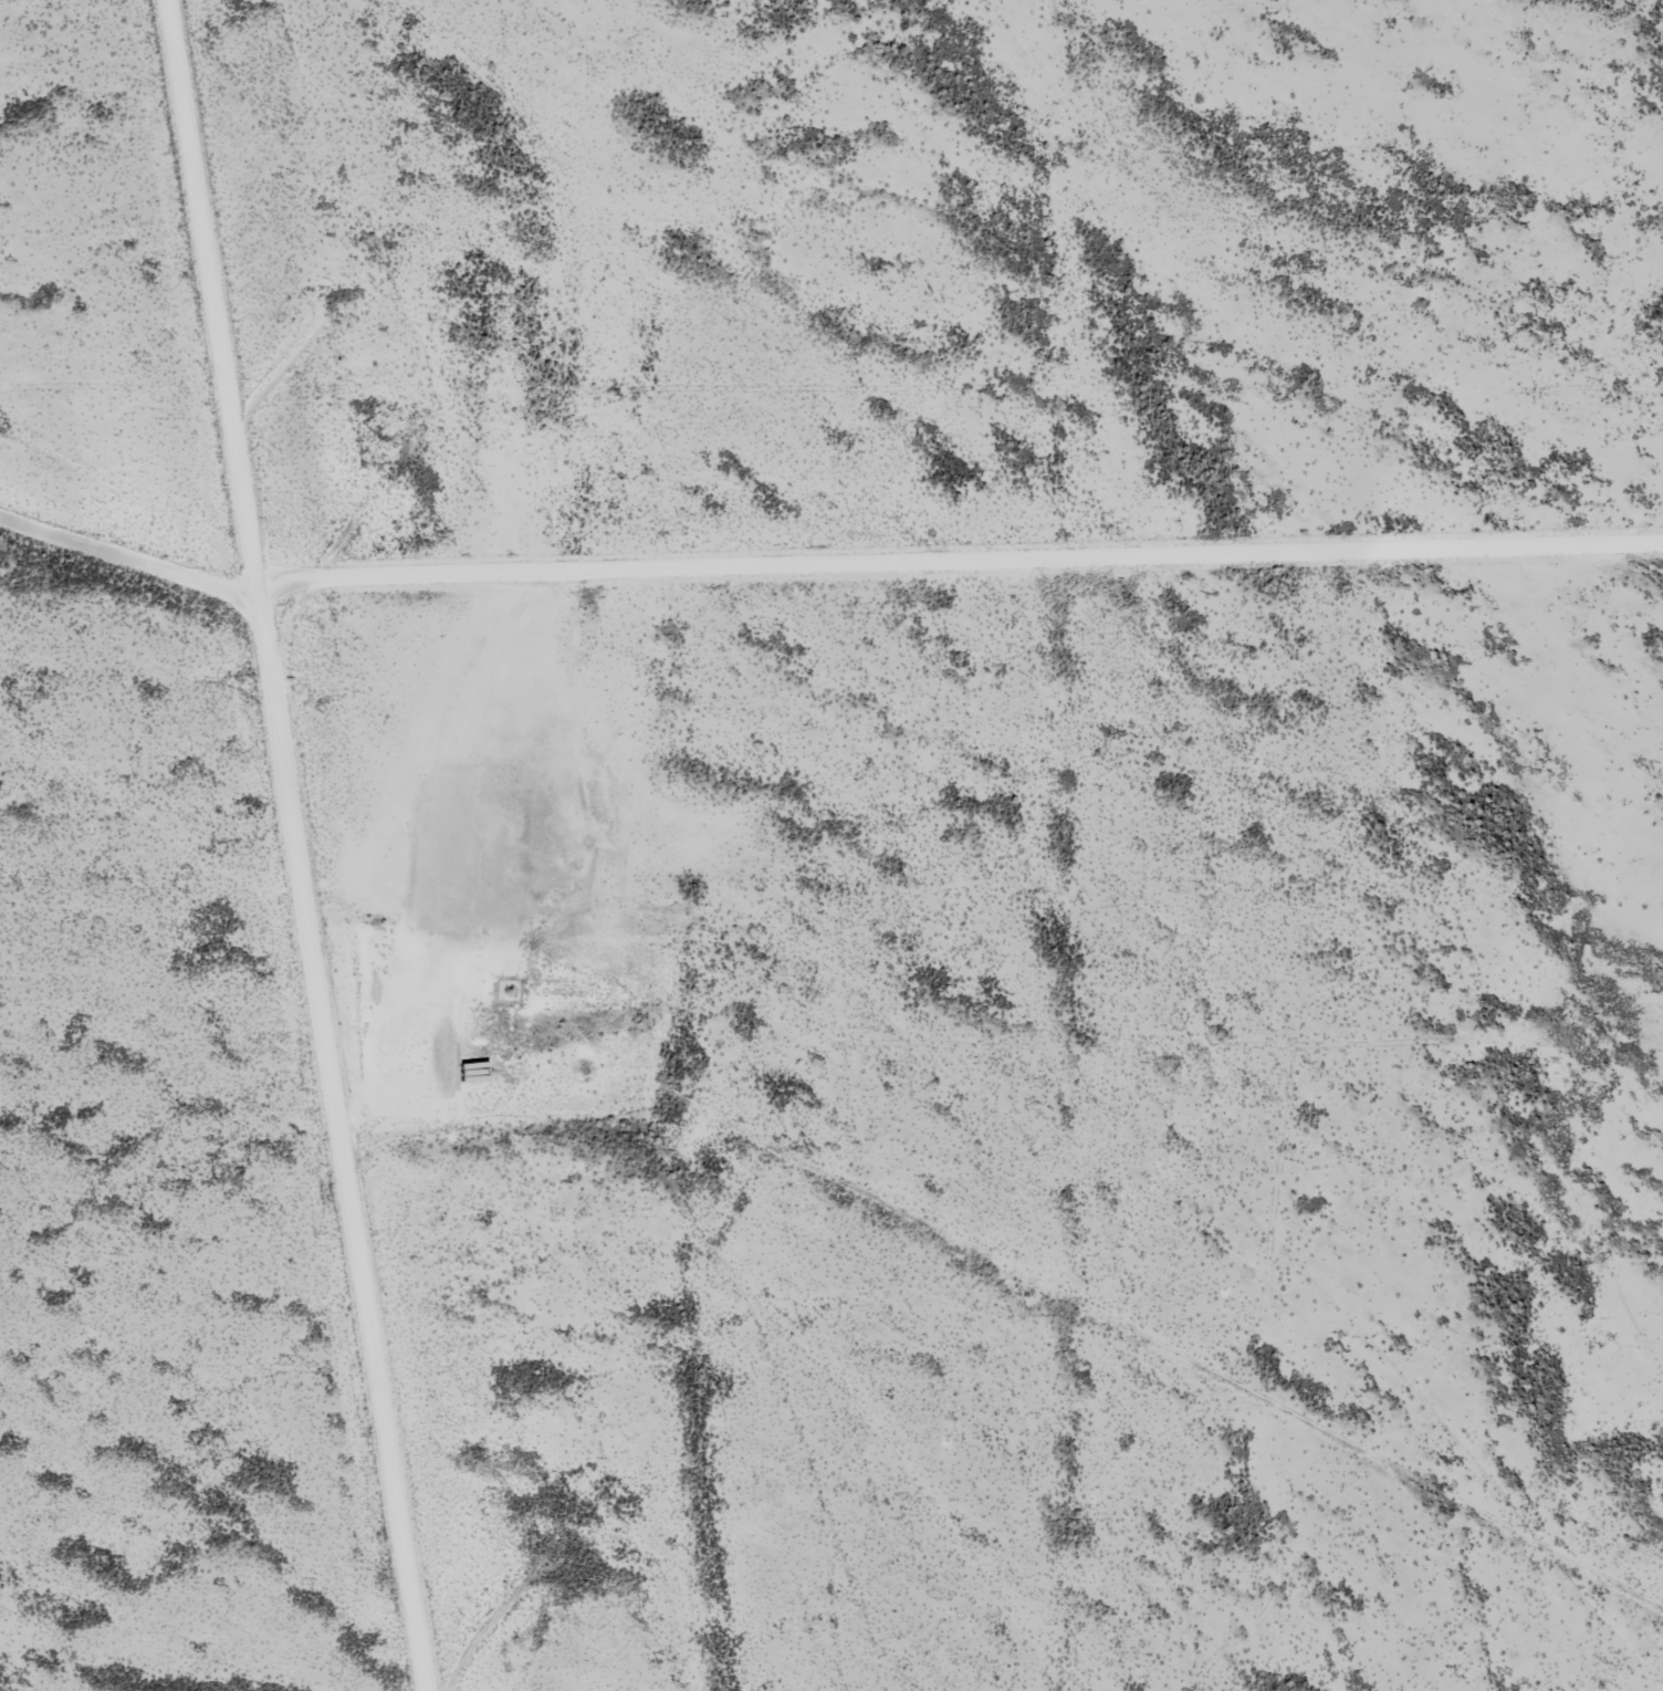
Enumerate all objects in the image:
road: (374, 846)
road: (0, 1690)

